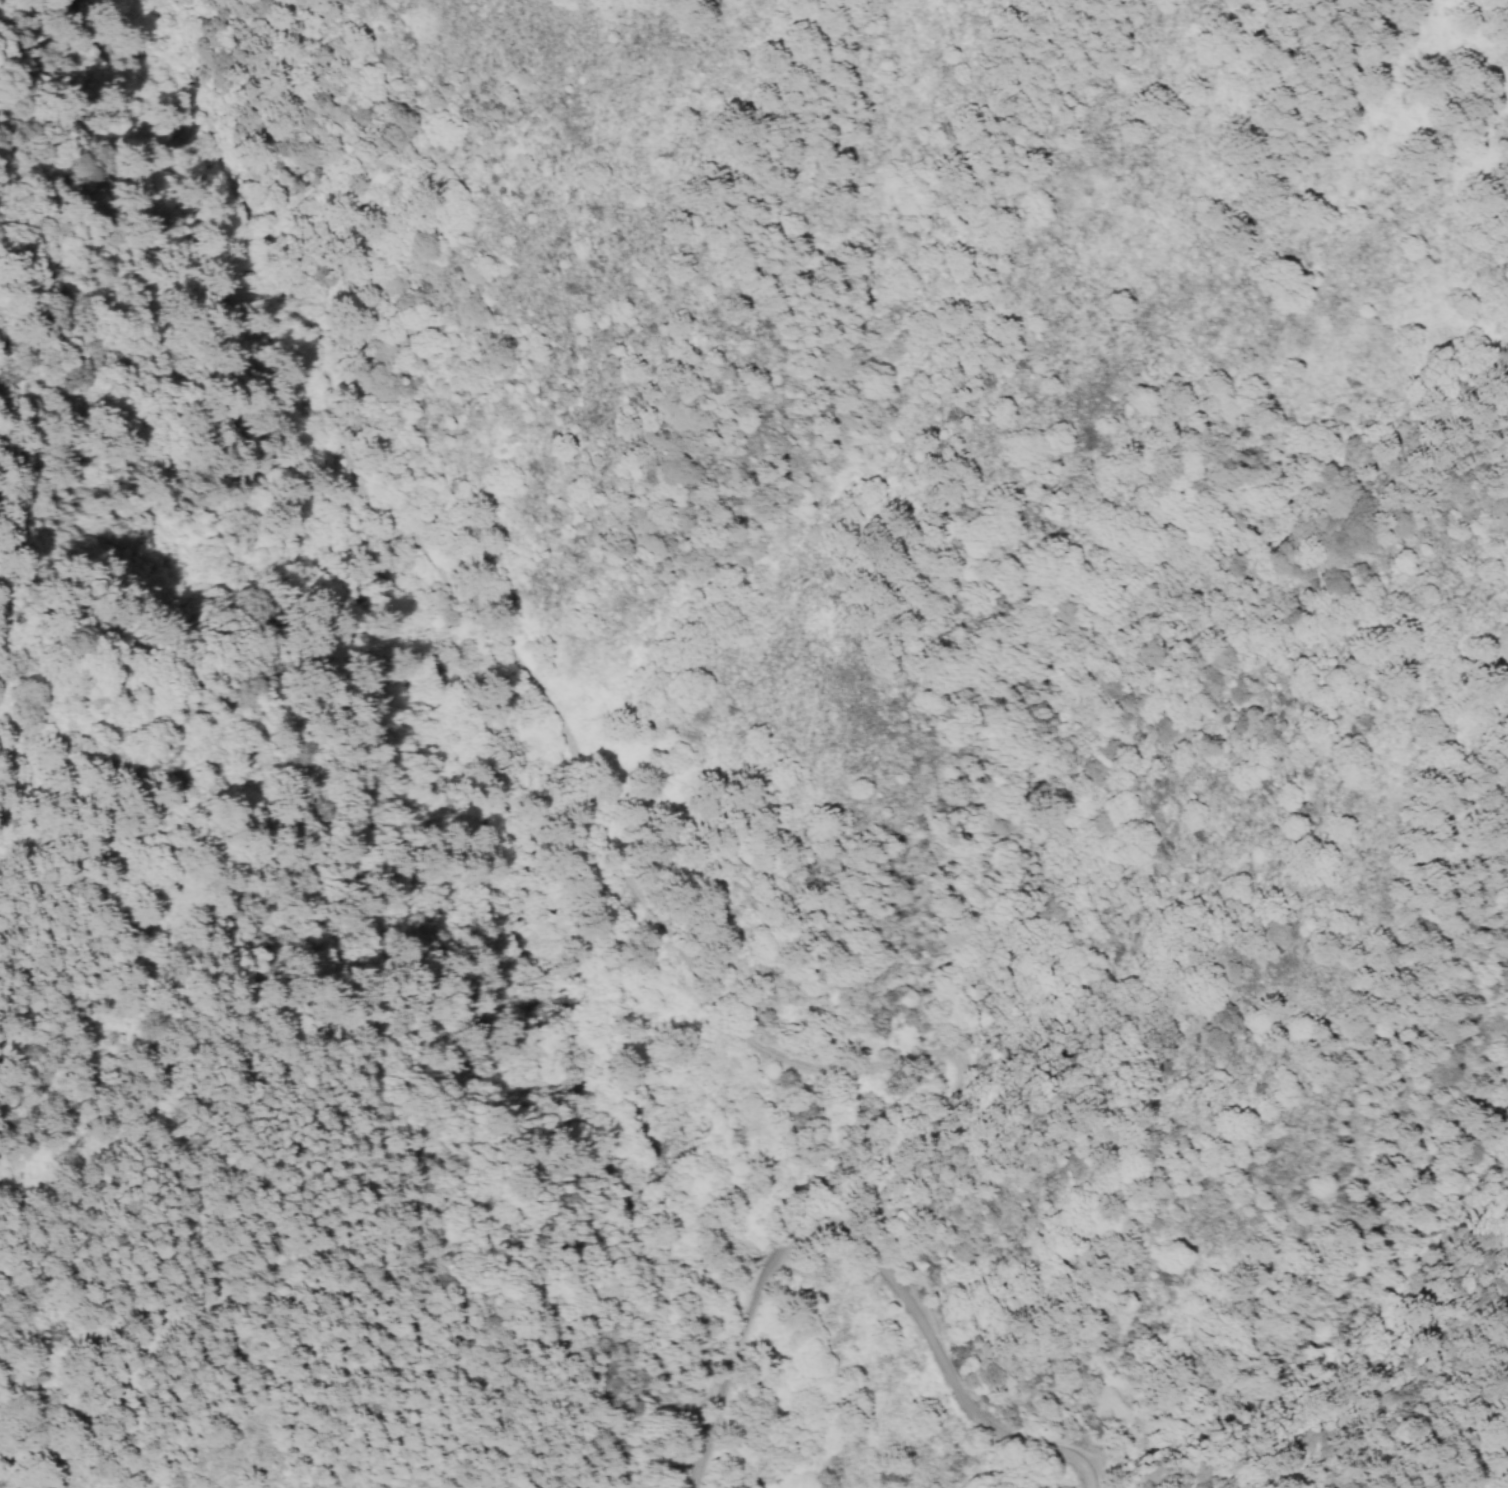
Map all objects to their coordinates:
road: (868, 1244)

